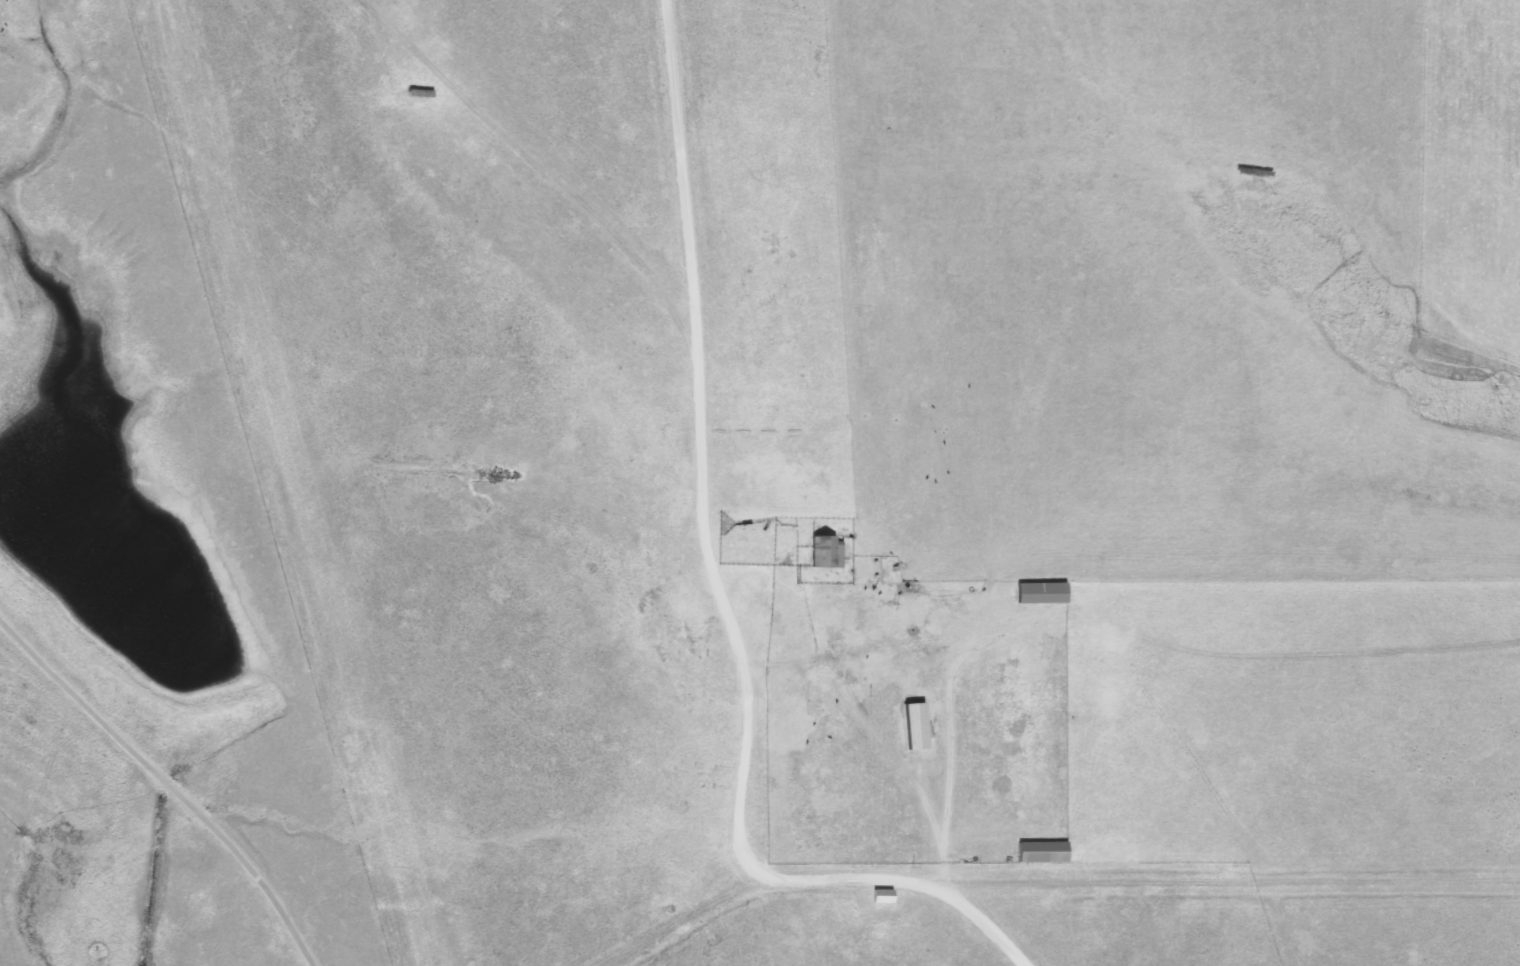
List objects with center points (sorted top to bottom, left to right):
building: (830, 551)
road: (721, 587)
building: (1045, 593)
building: (919, 725)
road: (945, 742)
road: (165, 786)
building: (1046, 852)
building: (885, 896)

